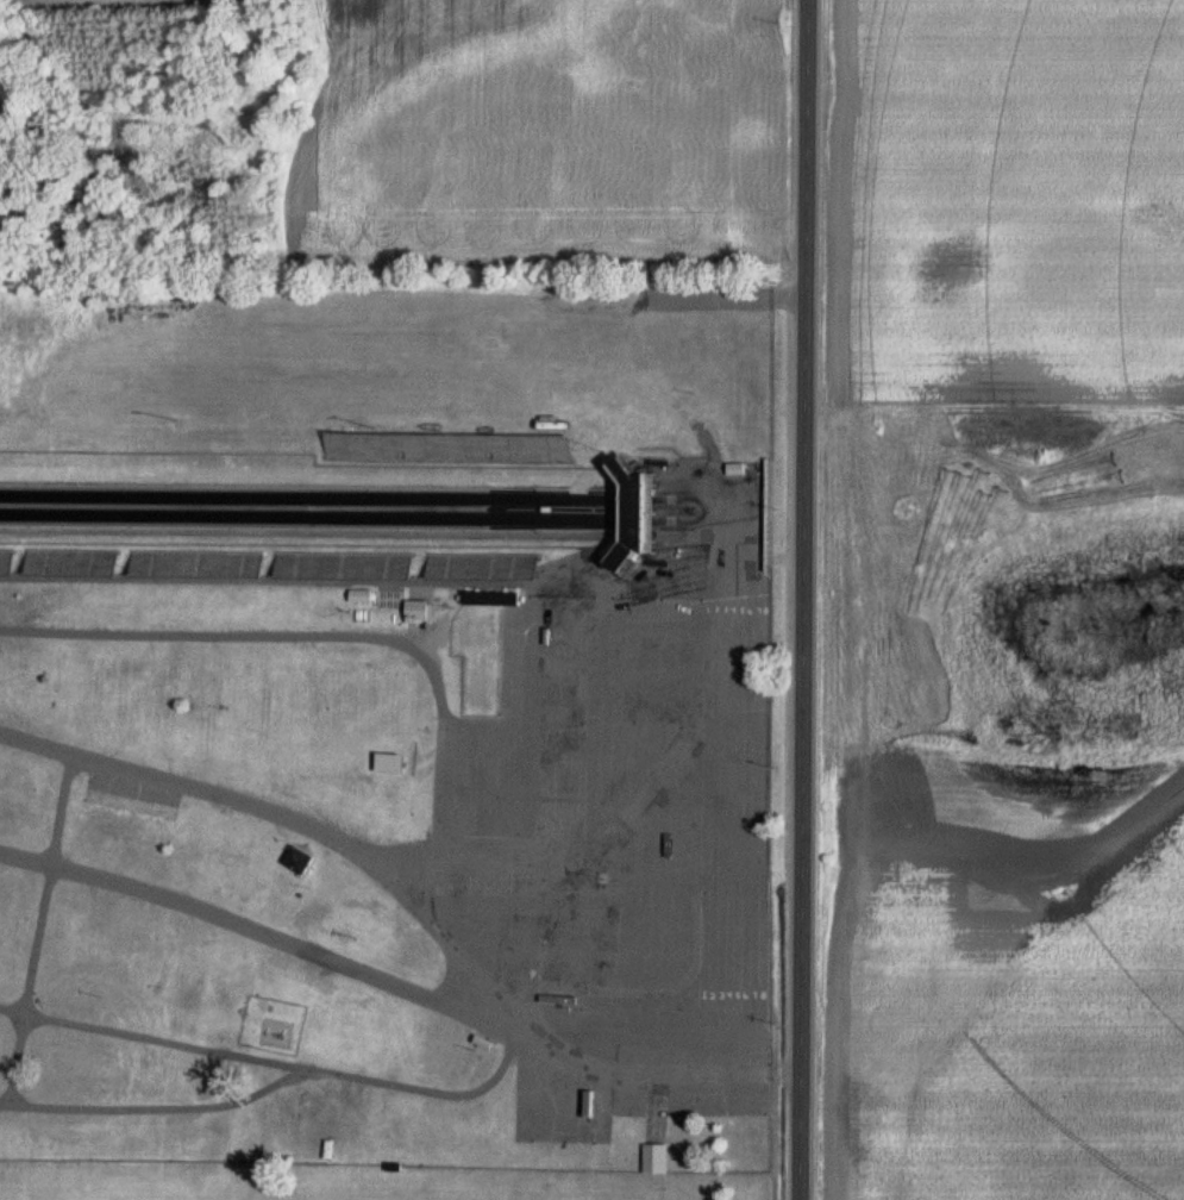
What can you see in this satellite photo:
stadium: (318, 506)
raceway: (347, 506)
building: (626, 511)
road: (334, 536)
building: (338, 567)
road: (802, 599)
building: (412, 612)
road: (253, 637)
building: (382, 763)
parking lot: (619, 855)
building: (293, 861)
road: (413, 904)
road: (39, 933)
road: (281, 940)
building: (478, 1043)
road: (272, 1063)
road: (151, 1110)
building: (651, 1160)

